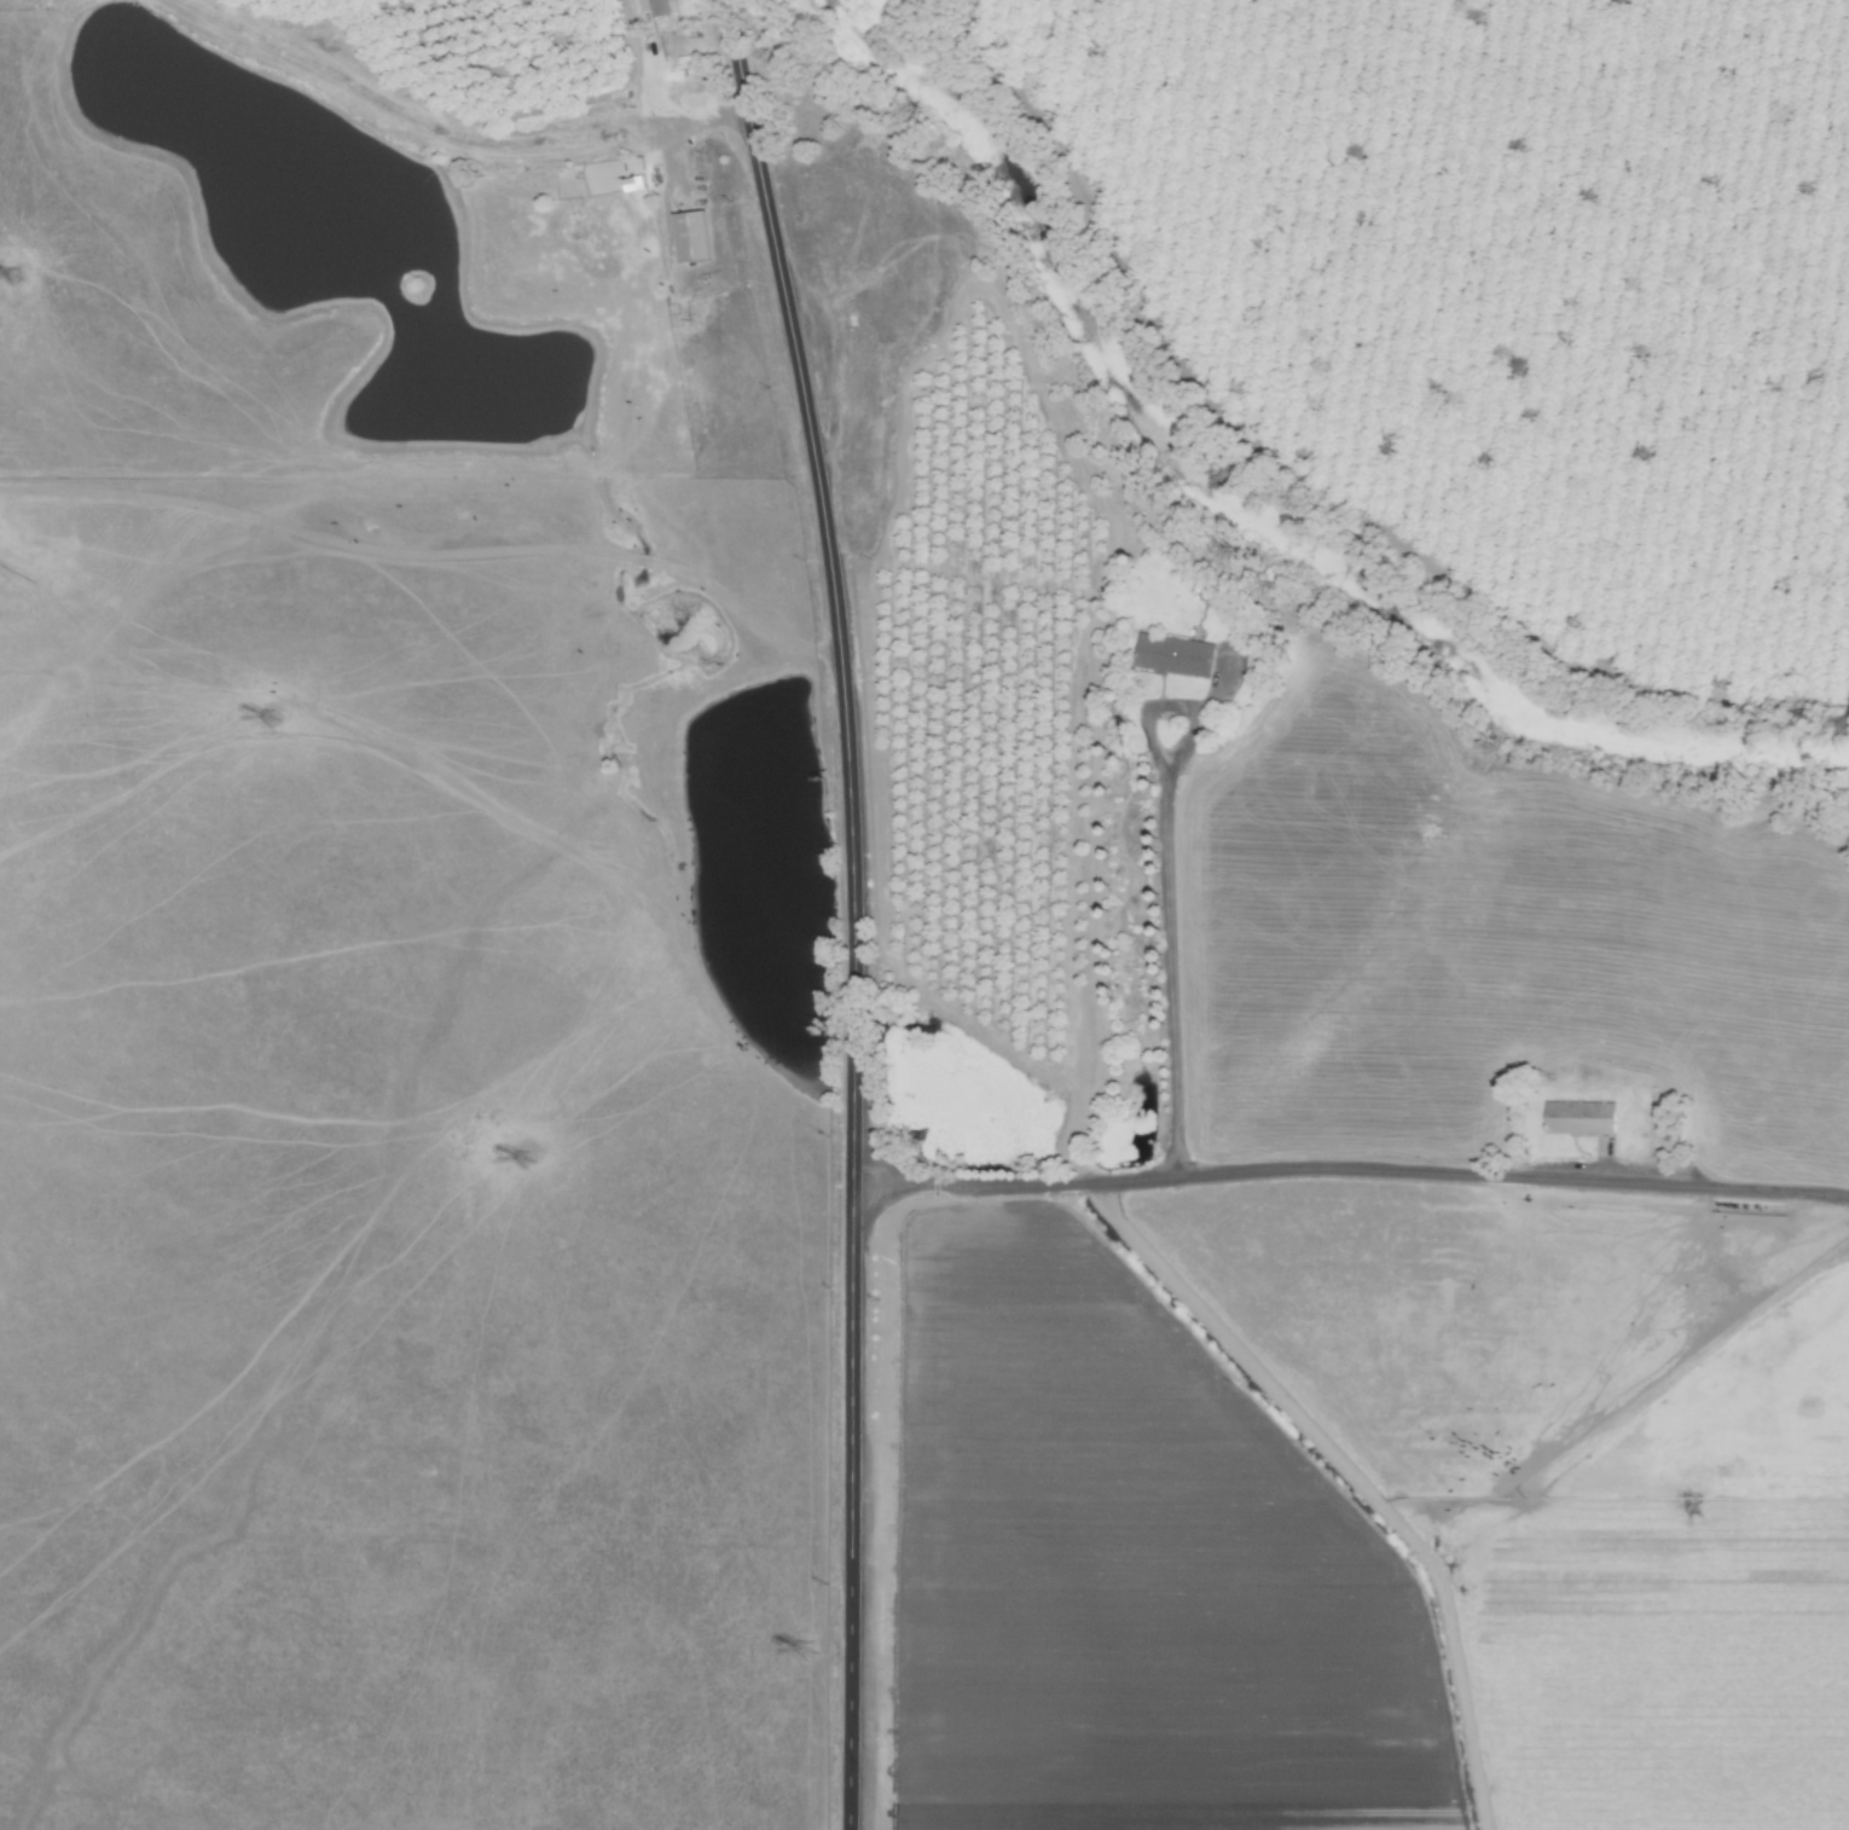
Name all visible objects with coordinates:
building: (654, 7)
road: (647, 99)
building: (689, 236)
power tower: (12, 276)
building: (1172, 658)
building: (1256, 664)
power tower: (267, 717)
road: (851, 909)
road: (1173, 952)
building: (1578, 1118)
power tower: (523, 1159)
road: (1350, 1172)
power tower: (806, 1650)

